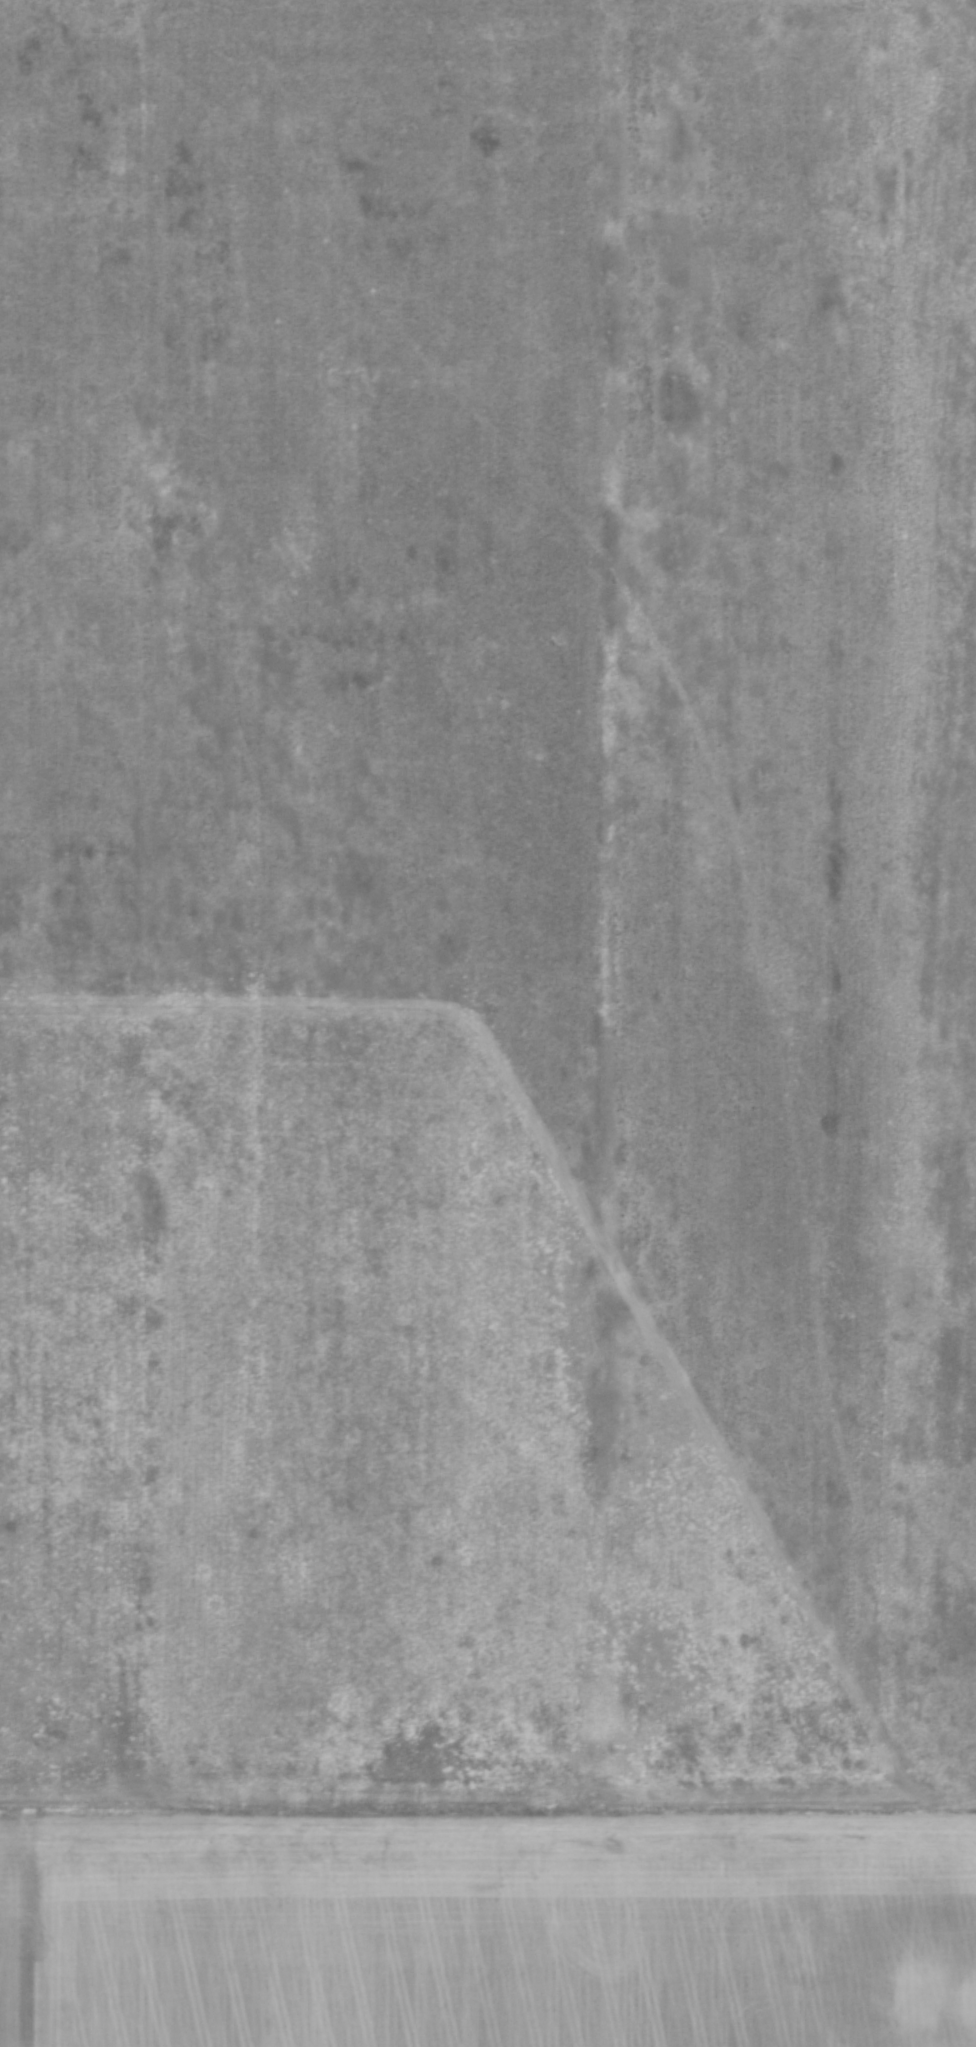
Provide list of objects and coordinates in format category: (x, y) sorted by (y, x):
crop: (473, 979)

